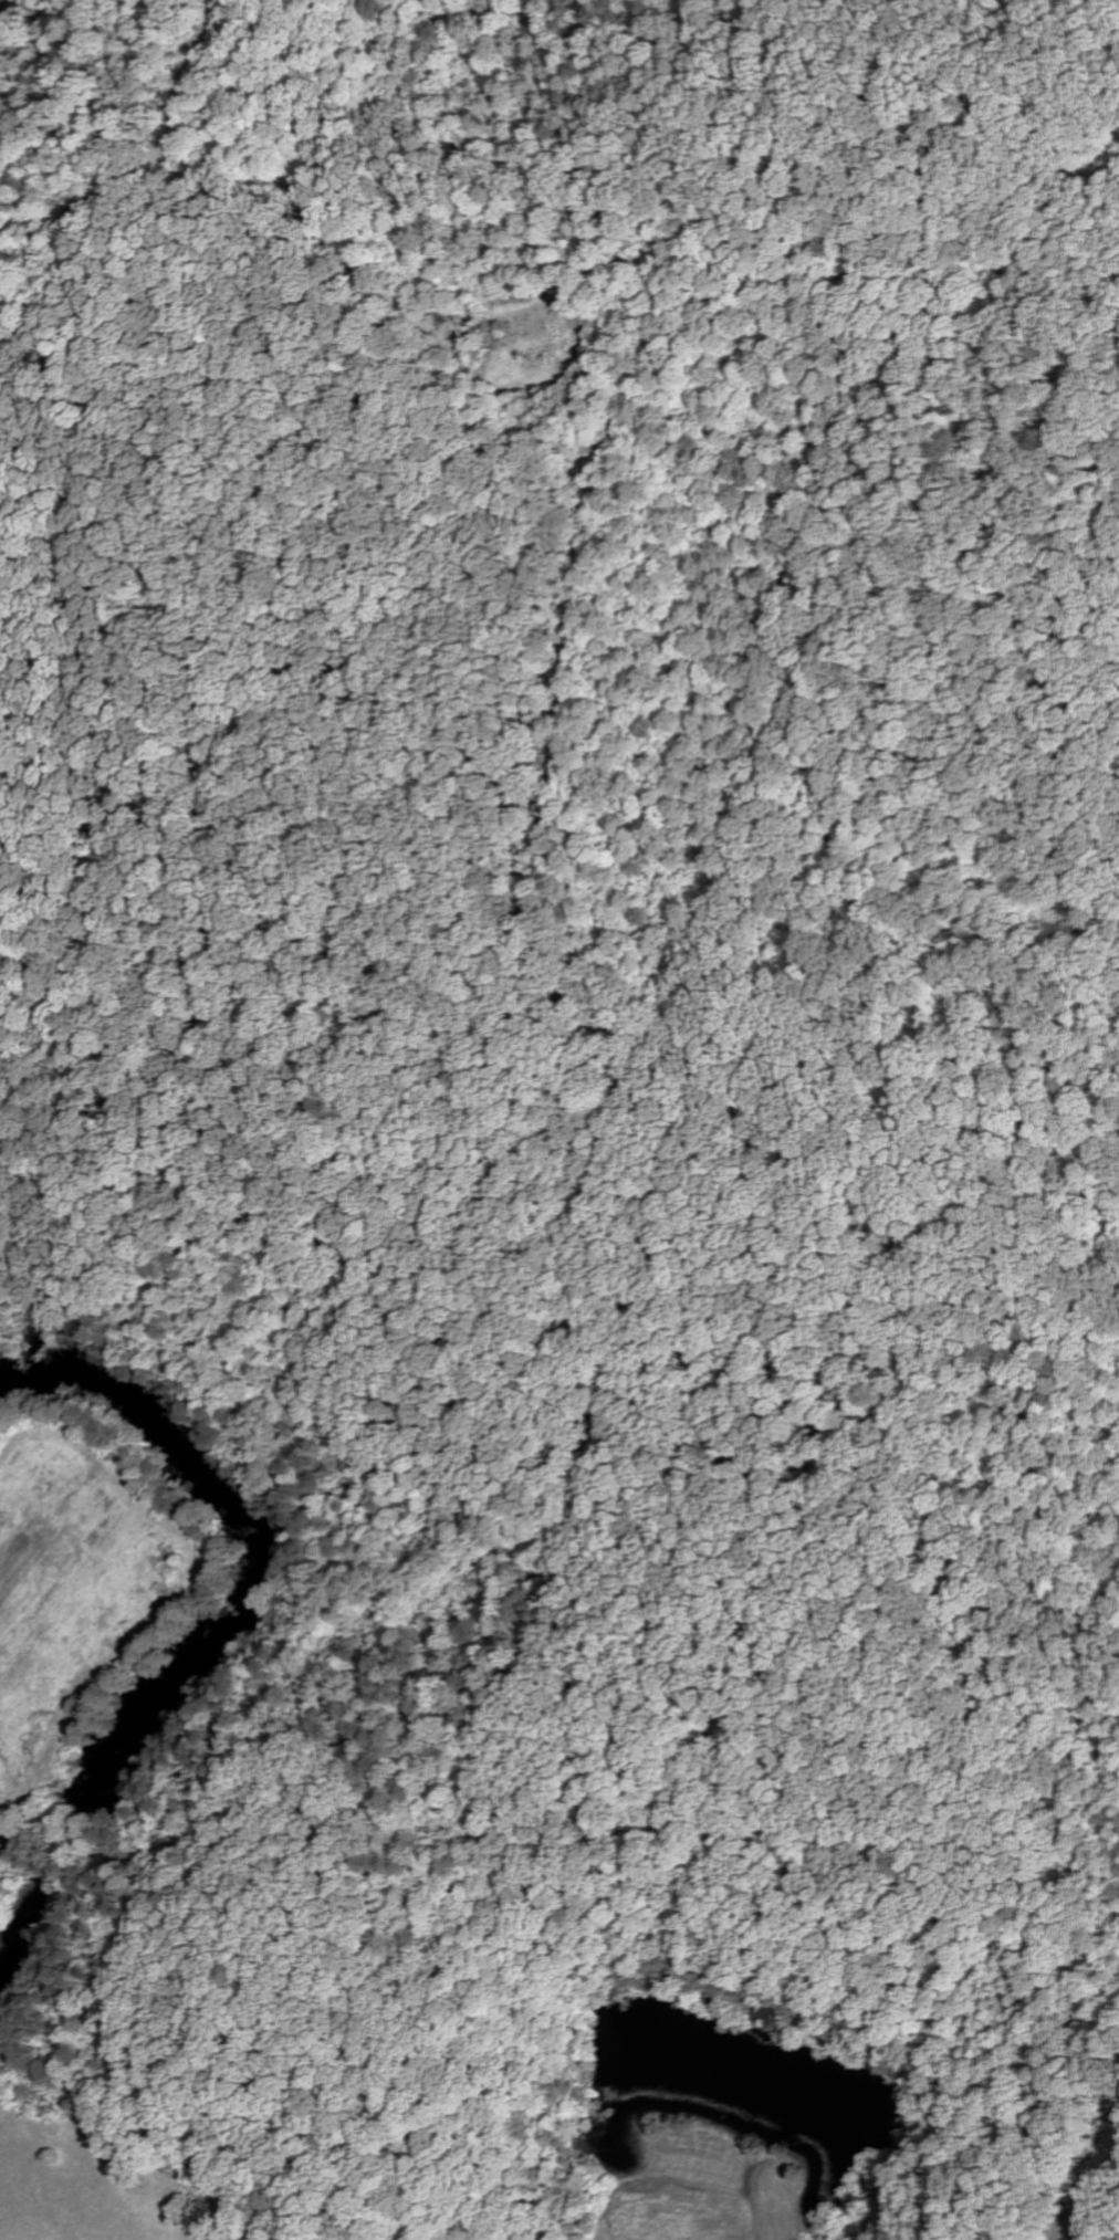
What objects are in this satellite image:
road: (9, 1796)

